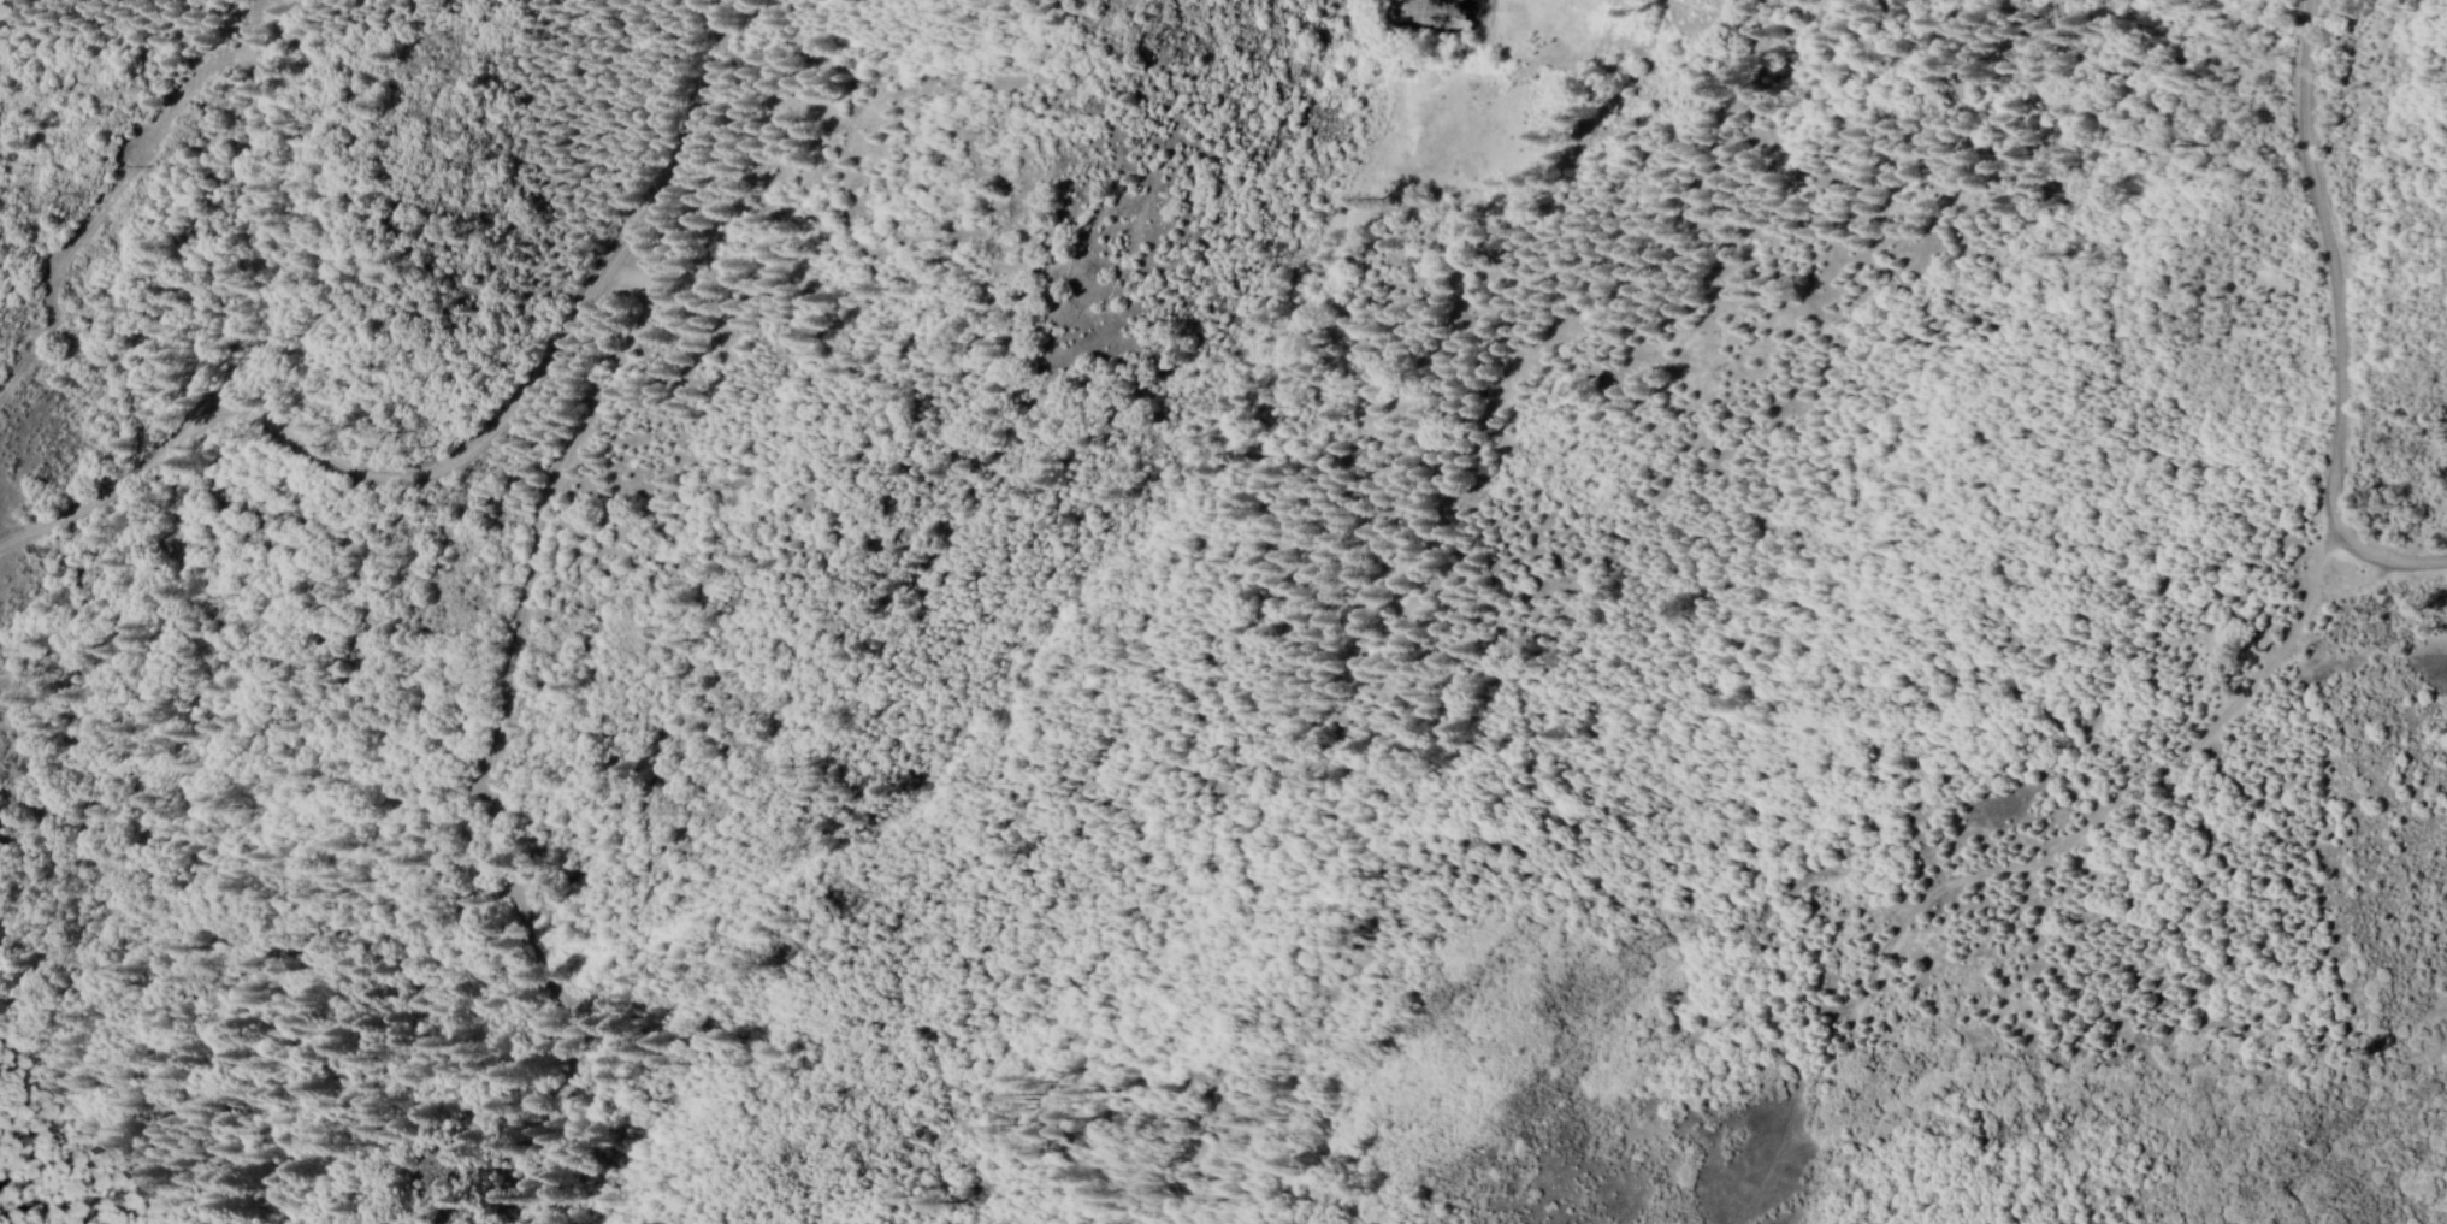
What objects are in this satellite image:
road: (2330, 327)
road: (467, 450)

